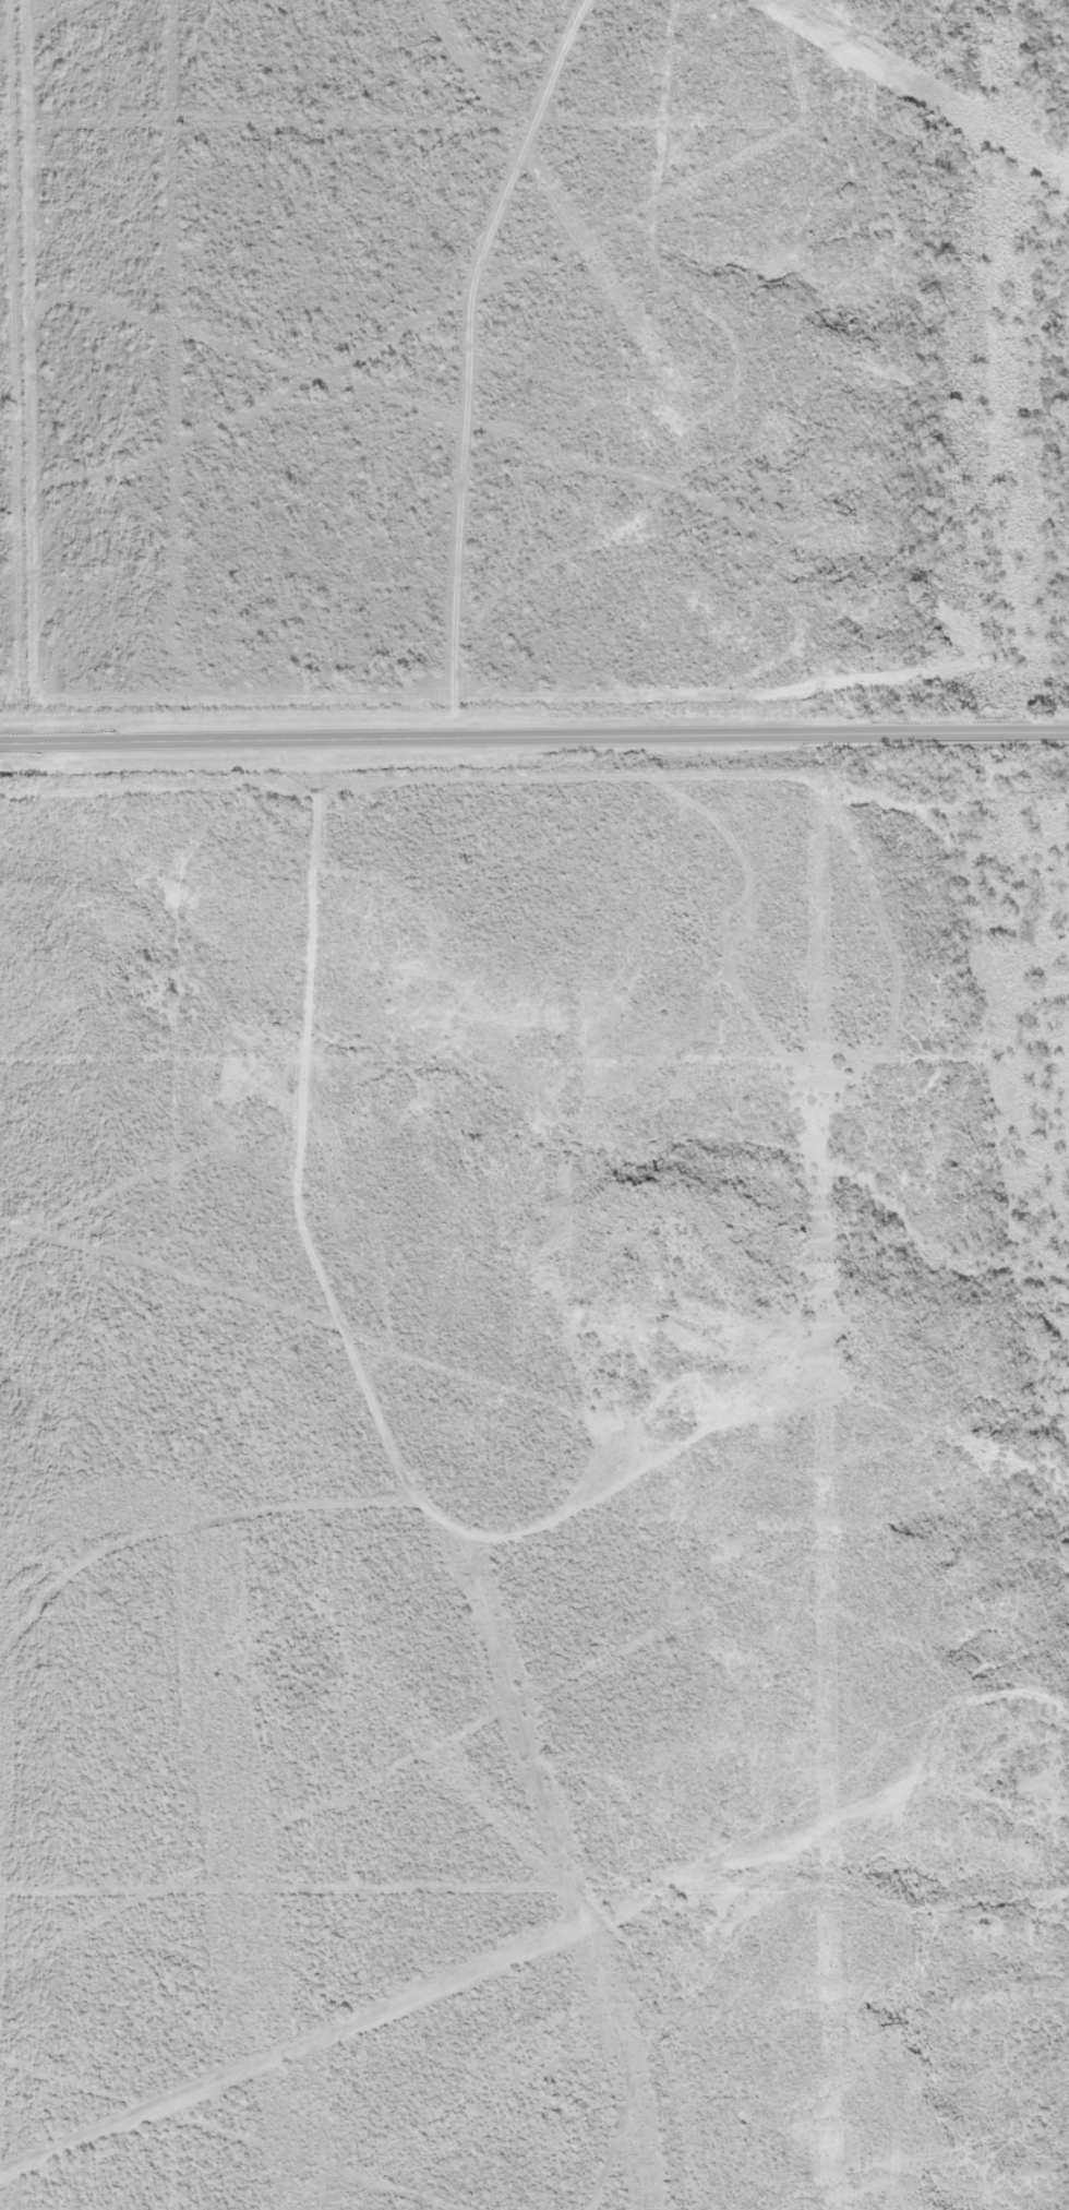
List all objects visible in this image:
road: (755, 421)
road: (533, 732)
road: (321, 1278)

